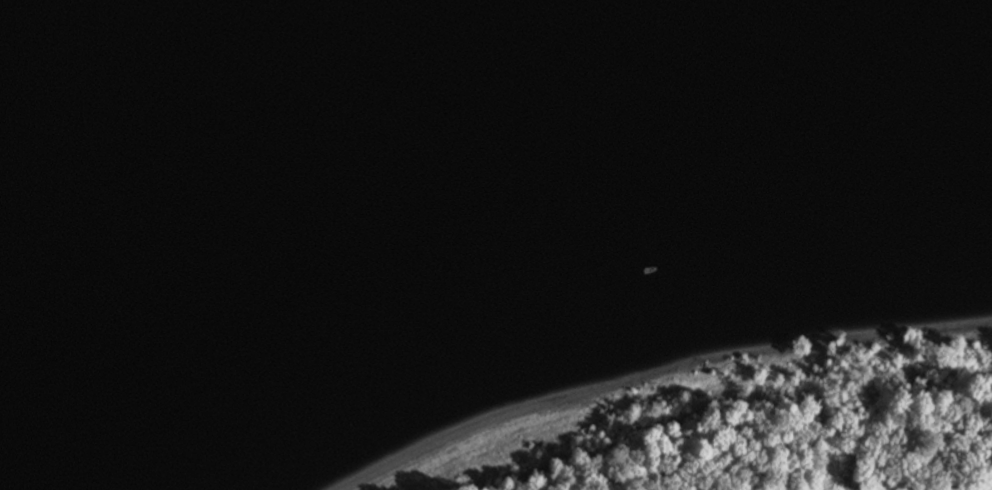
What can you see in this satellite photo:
river: (202, 77)

